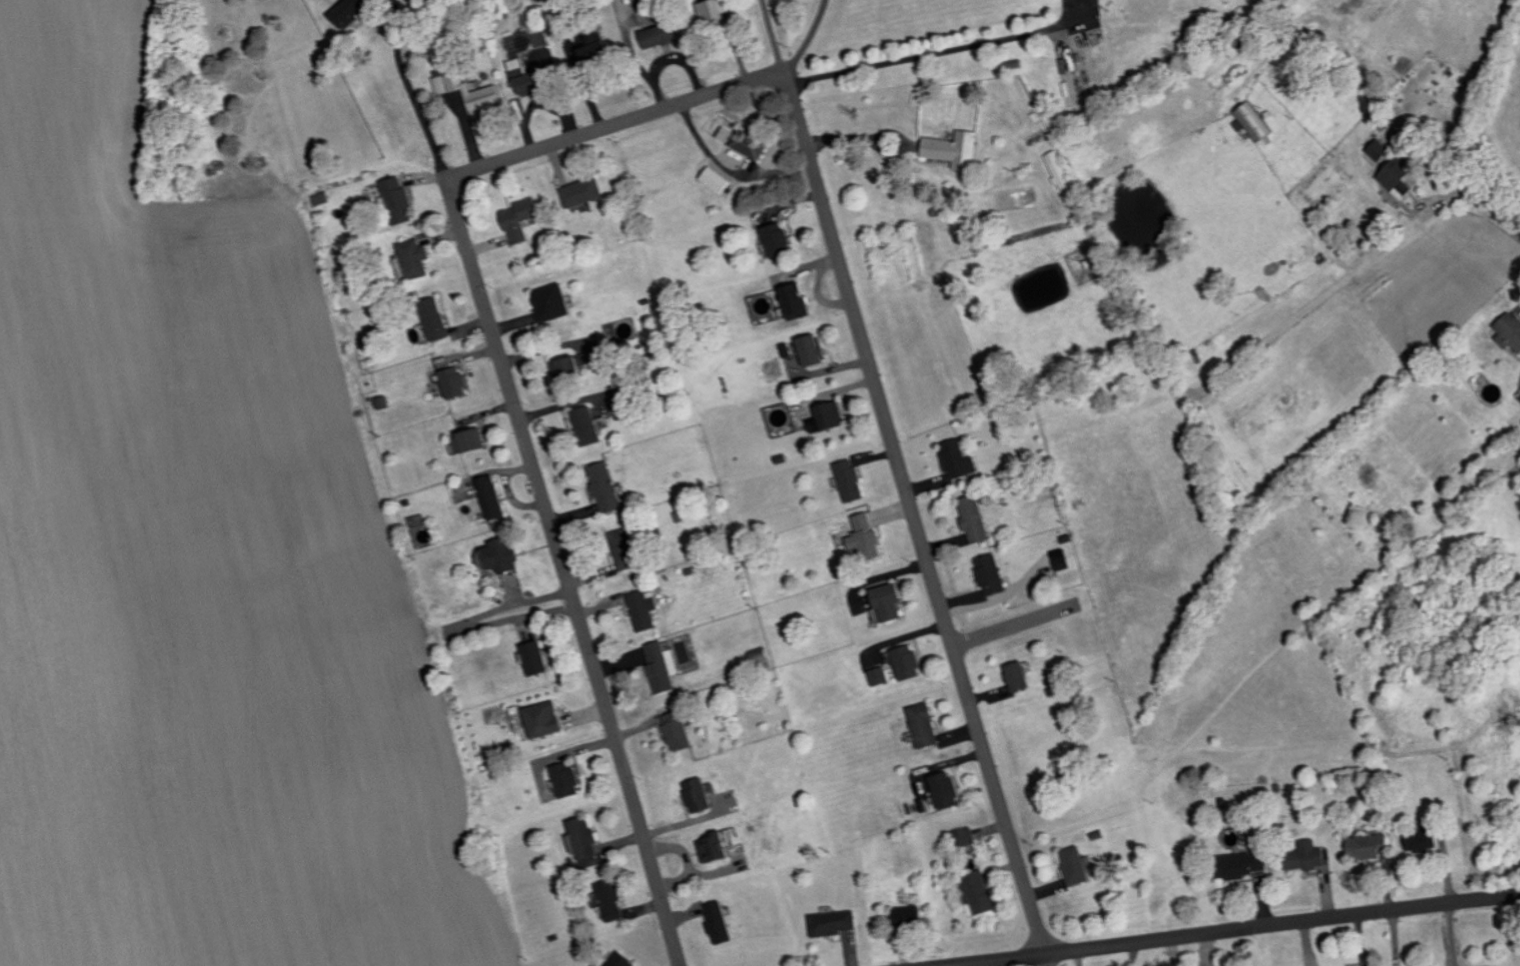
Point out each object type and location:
building: (351, 11)
building: (713, 13)
building: (661, 35)
road: (774, 36)
road: (808, 38)
building: (542, 39)
building: (597, 49)
road: (937, 51)
building: (524, 63)
building: (442, 84)
road: (412, 92)
building: (477, 93)
building: (1254, 122)
road: (615, 126)
building: (726, 134)
road: (855, 137)
building: (751, 144)
building: (955, 149)
building: (1380, 151)
building: (1059, 170)
building: (1397, 178)
building: (716, 180)
building: (582, 192)
building: (320, 198)
building: (398, 200)
road: (1496, 214)
building: (521, 218)
building: (778, 240)
building: (415, 258)
building: (797, 301)
building: (552, 302)
building: (434, 319)
building: (1511, 331)
building: (812, 350)
building: (570, 367)
building: (454, 382)
building: (828, 418)
building: (588, 426)
building: (469, 441)
building: (959, 460)
building: (851, 481)
building: (606, 488)
building: (492, 498)
road: (915, 519)
building: (975, 519)
building: (866, 537)
building: (625, 549)
building: (502, 556)
building: (1063, 559)
road: (565, 572)
building: (992, 575)
building: (890, 602)
road: (509, 605)
building: (644, 610)
road: (514, 621)
road: (1010, 625)
building: (536, 658)
building: (908, 662)
building: (660, 668)
building: (878, 676)
building: (1019, 677)
building: (544, 719)
building: (925, 726)
building: (679, 731)
building: (566, 780)
building: (947, 791)
building: (699, 796)
building: (967, 838)
building: (584, 840)
building: (1424, 842)
building: (1369, 847)
building: (715, 848)
building: (1306, 857)
building: (1246, 864)
building: (1076, 866)
building: (979, 892)
building: (611, 901)
building: (908, 916)
building: (720, 923)
building: (832, 923)
road: (1233, 927)
road: (1452, 933)
road: (1206, 949)
road: (1172, 950)
building: (621, 960)

